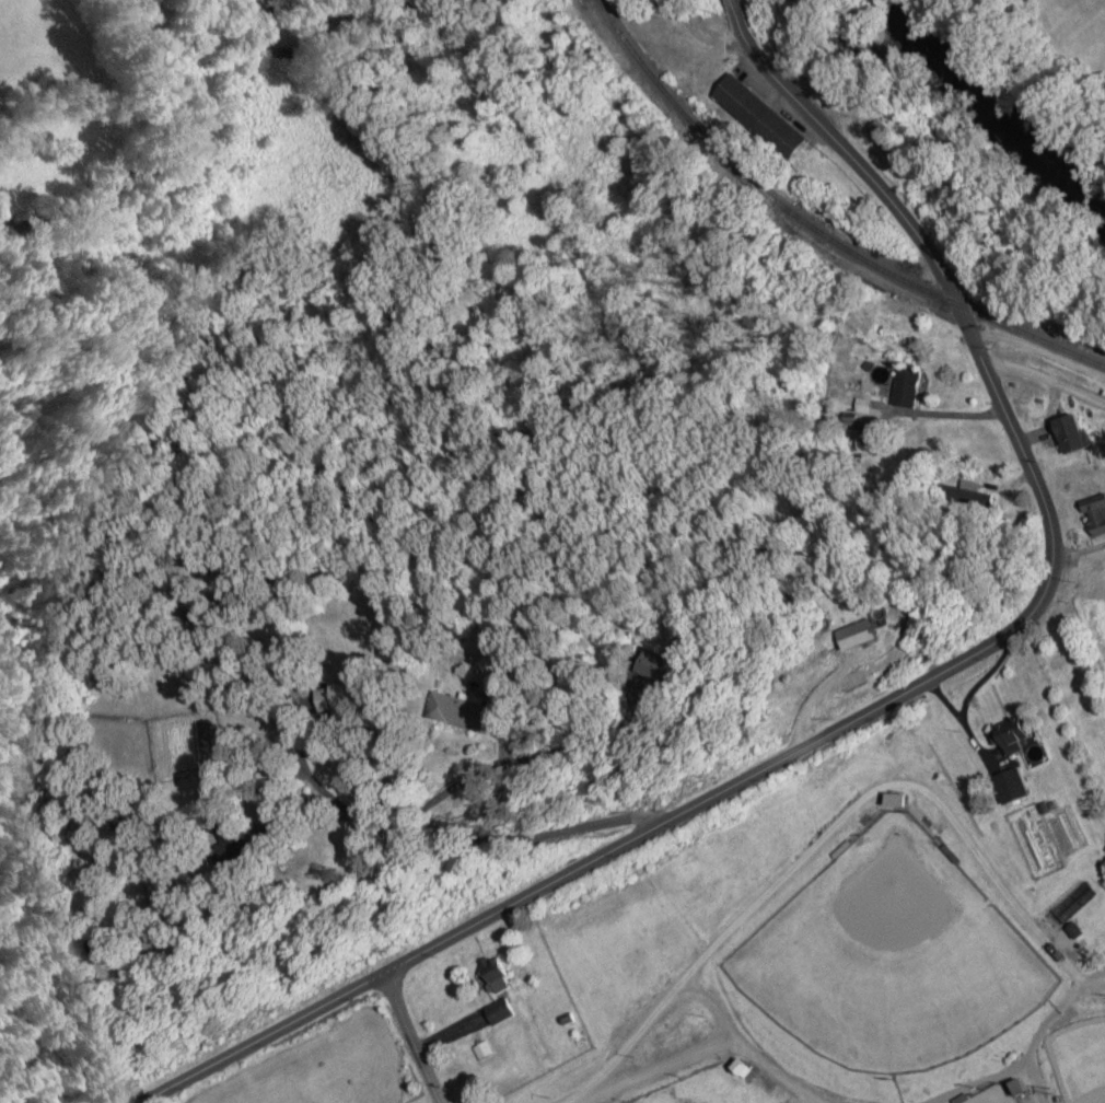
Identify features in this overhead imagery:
building: (752, 105)
river: (991, 113)
building: (885, 140)
railway: (818, 230)
building: (911, 386)
building: (1079, 434)
building: (1098, 513)
building: (874, 634)
building: (674, 665)
road: (908, 693)
building: (474, 711)
building: (1025, 738)
building: (1017, 786)
building: (905, 799)
building: (241, 829)
building: (504, 975)
building: (505, 1011)
road: (412, 1037)
building: (748, 1068)

